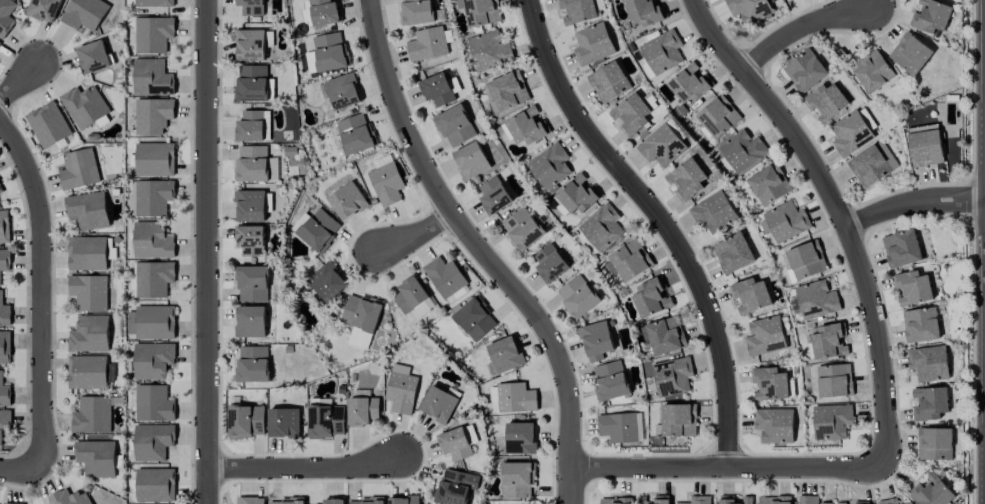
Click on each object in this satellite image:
building: (154, 3)
building: (251, 7)
building: (43, 9)
building: (749, 9)
building: (577, 10)
building: (643, 11)
building: (323, 12)
building: (416, 12)
building: (481, 12)
building: (84, 13)
building: (6, 16)
building: (930, 16)
road: (800, 29)
building: (153, 34)
building: (0, 43)
building: (252, 44)
building: (427, 44)
building: (593, 44)
building: (490, 50)
building: (662, 52)
building: (324, 53)
building: (909, 53)
building: (93, 57)
building: (805, 70)
building: (872, 71)
building: (152, 78)
building: (609, 82)
road: (21, 83)
building: (251, 83)
building: (689, 83)
building: (437, 89)
building: (342, 91)
building: (508, 91)
building: (650, 101)
building: (826, 102)
building: (84, 106)
building: (631, 114)
building: (153, 115)
building: (718, 116)
building: (48, 125)
building: (250, 126)
building: (455, 126)
building: (526, 126)
building: (850, 133)
building: (355, 134)
building: (661, 146)
building: (925, 146)
building: (742, 151)
building: (154, 159)
building: (471, 160)
building: (252, 163)
building: (872, 164)
building: (550, 166)
building: (79, 169)
building: (686, 179)
building: (386, 184)
building: (769, 184)
building: (0, 190)
building: (493, 195)
building: (576, 195)
building: (153, 197)
building: (347, 201)
road: (914, 203)
building: (251, 205)
building: (87, 210)
building: (713, 212)
road: (842, 214)
building: (786, 221)
building: (299, 222)
road: (663, 222)
building: (4, 227)
building: (602, 227)
building: (522, 229)
building: (319, 230)
road: (418, 237)
building: (250, 240)
building: (152, 241)
building: (901, 248)
road: (206, 252)
building: (87, 253)
road: (480, 253)
building: (733, 253)
building: (4, 260)
building: (630, 260)
building: (806, 260)
building: (550, 263)
building: (444, 276)
building: (153, 279)
building: (327, 281)
building: (252, 283)
building: (912, 288)
road: (43, 290)
building: (89, 292)
building: (409, 294)
building: (457, 295)
building: (577, 296)
building: (749, 296)
building: (651, 299)
building: (814, 300)
building: (420, 310)
building: (4, 312)
building: (361, 319)
building: (474, 319)
building: (250, 321)
building: (152, 322)
building: (920, 325)
building: (89, 334)
building: (666, 335)
building: (765, 336)
building: (596, 341)
building: (827, 342)
building: (5, 347)
building: (505, 354)
building: (153, 360)
building: (929, 363)
building: (252, 364)
building: (400, 368)
building: (87, 372)
building: (672, 376)
building: (610, 380)
building: (834, 380)
building: (769, 384)
building: (4, 392)
building: (401, 392)
building: (516, 398)
building: (153, 403)
building: (929, 403)
building: (438, 404)
building: (362, 411)
building: (92, 415)
building: (678, 420)
building: (246, 421)
building: (325, 421)
building: (831, 421)
building: (4, 423)
building: (284, 423)
building: (774, 425)
building: (620, 427)
building: (470, 434)
building: (520, 438)
building: (153, 441)
building: (454, 444)
building: (934, 444)
building: (96, 458)
road: (22, 469)
road: (304, 470)
road: (730, 471)
building: (517, 480)
building: (155, 485)
building: (456, 486)
building: (932, 492)
building: (69, 498)
building: (662, 499)
building: (250, 500)
building: (403, 500)
building: (640, 500)
building: (698, 500)
building: (726, 500)
building: (746, 500)
building: (774, 500)
building: (809, 500)
building: (286, 501)
building: (333, 501)
building: (366, 501)
building: (615, 501)
building: (888, 501)
building: (861, 502)
building: (12, 503)
building: (841, 503)
building: (908, 503)

